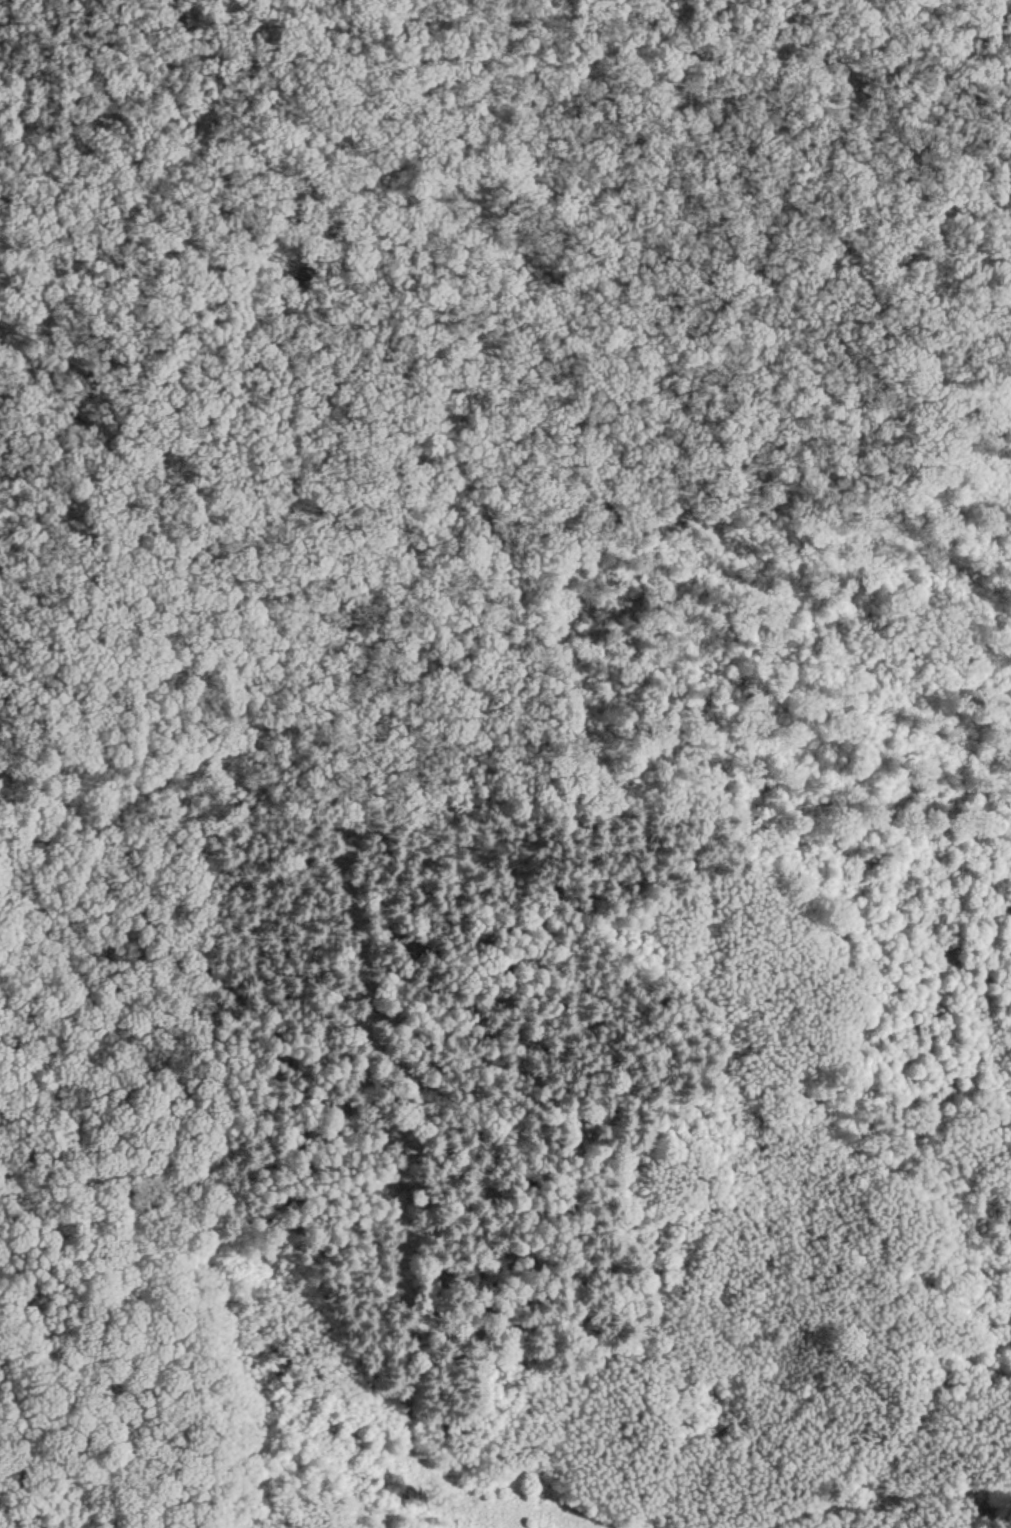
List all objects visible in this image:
road: (160, 426)
road: (82, 1004)
road: (163, 1386)

